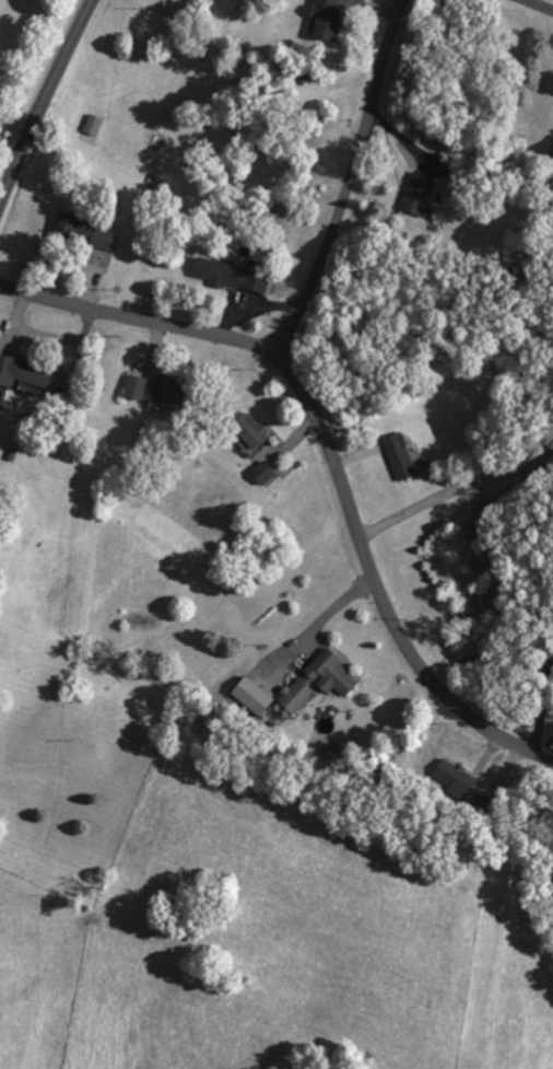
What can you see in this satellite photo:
road: (538, 5)
building: (319, 24)
road: (44, 101)
building: (92, 126)
building: (551, 158)
road: (349, 183)
building: (412, 191)
building: (95, 236)
building: (228, 276)
building: (20, 376)
building: (131, 387)
building: (246, 430)
road: (332, 451)
building: (398, 455)
building: (262, 476)
road: (457, 488)
road: (317, 620)
building: (295, 688)
road: (542, 707)
building: (450, 777)

